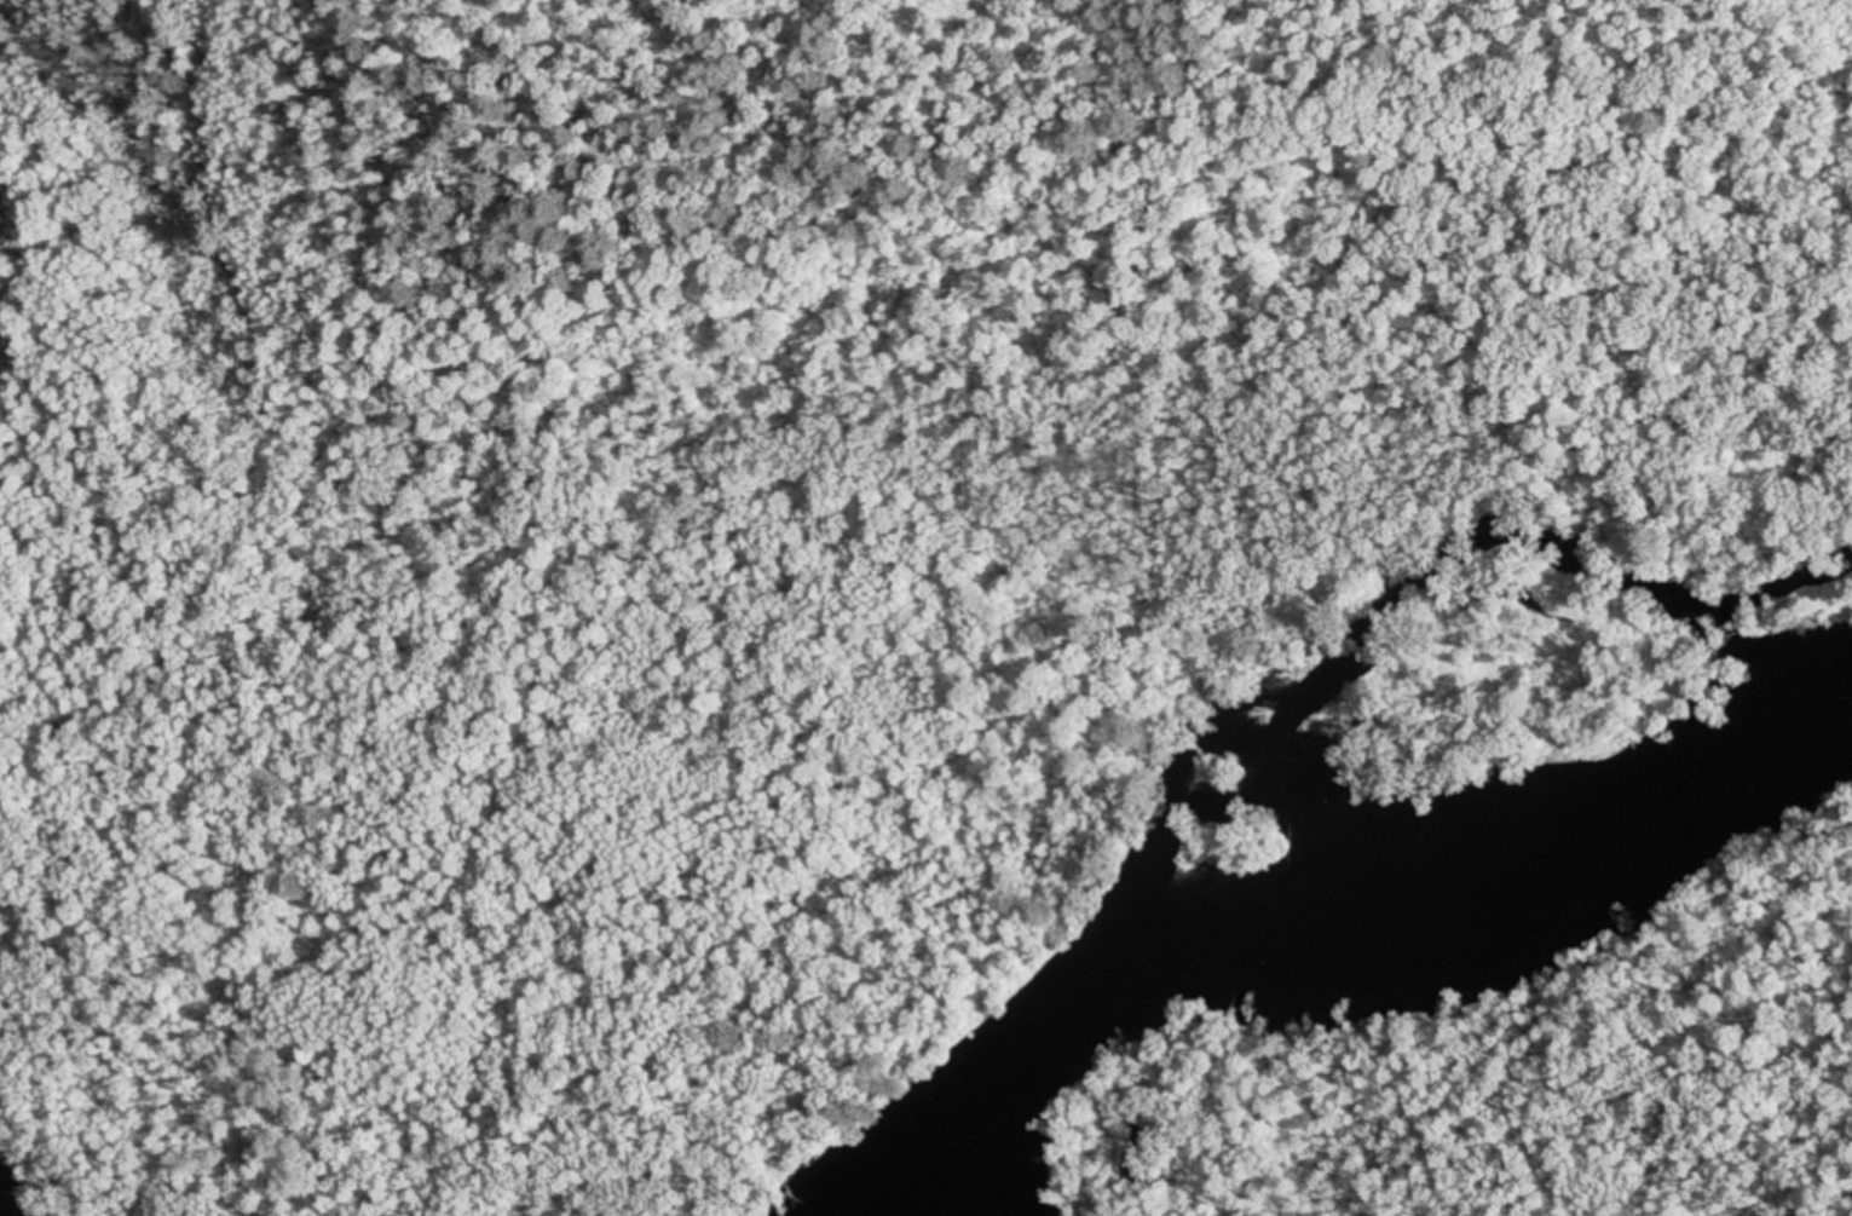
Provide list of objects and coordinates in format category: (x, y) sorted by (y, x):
river: (1357, 944)

